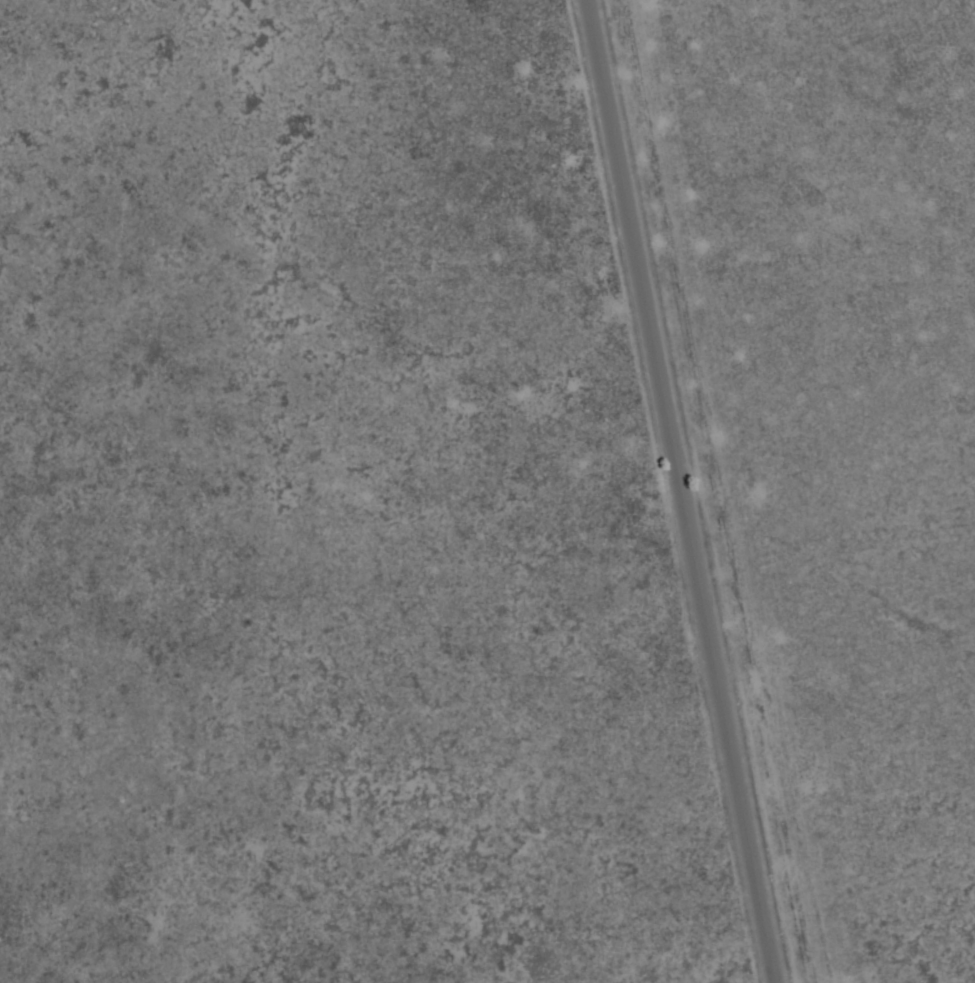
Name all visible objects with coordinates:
road: (682, 490)

